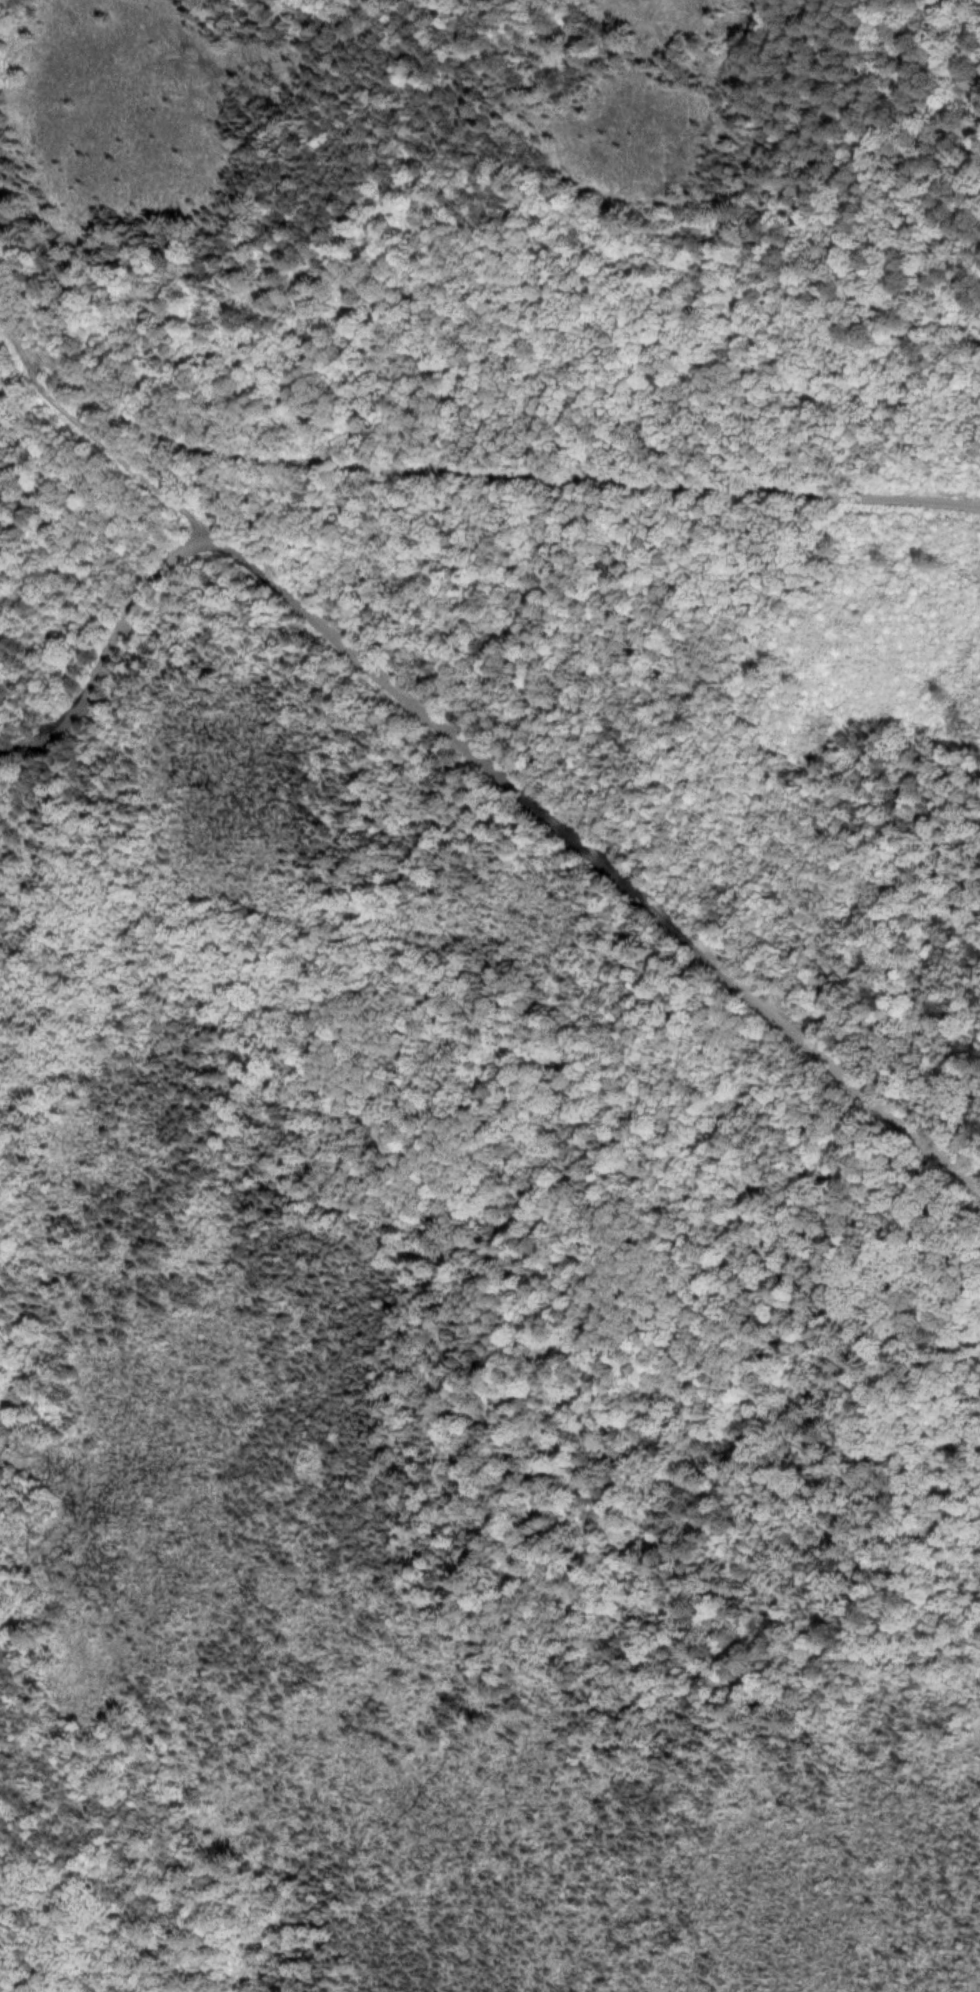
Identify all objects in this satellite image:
road: (466, 472)
road: (192, 546)
road: (595, 855)

